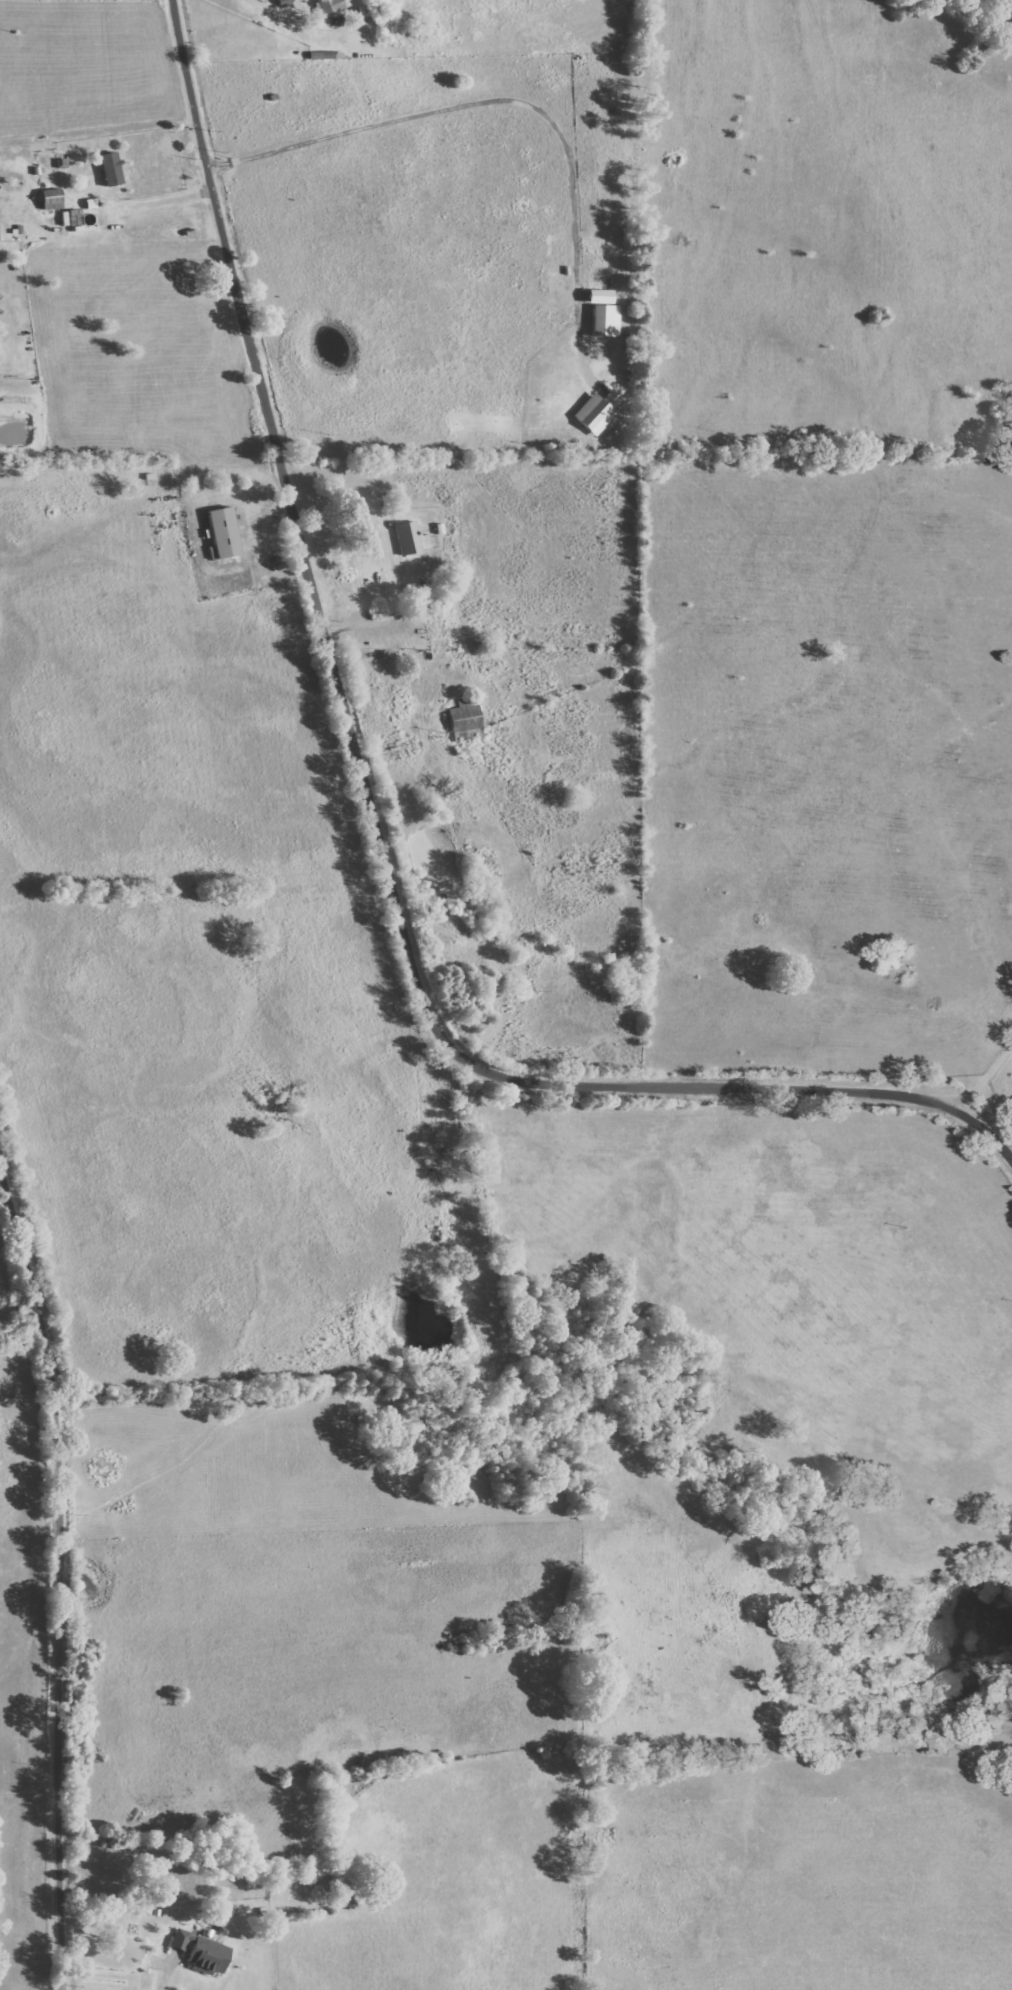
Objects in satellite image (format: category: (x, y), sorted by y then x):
building: (332, 6)
road: (290, 25)
road: (511, 98)
building: (110, 169)
road: (156, 202)
building: (605, 320)
building: (597, 411)
building: (223, 532)
building: (408, 537)
building: (466, 719)
road: (378, 812)
road: (985, 1079)
road: (59, 1576)
building: (180, 1941)
building: (207, 1955)
road: (166, 1972)

